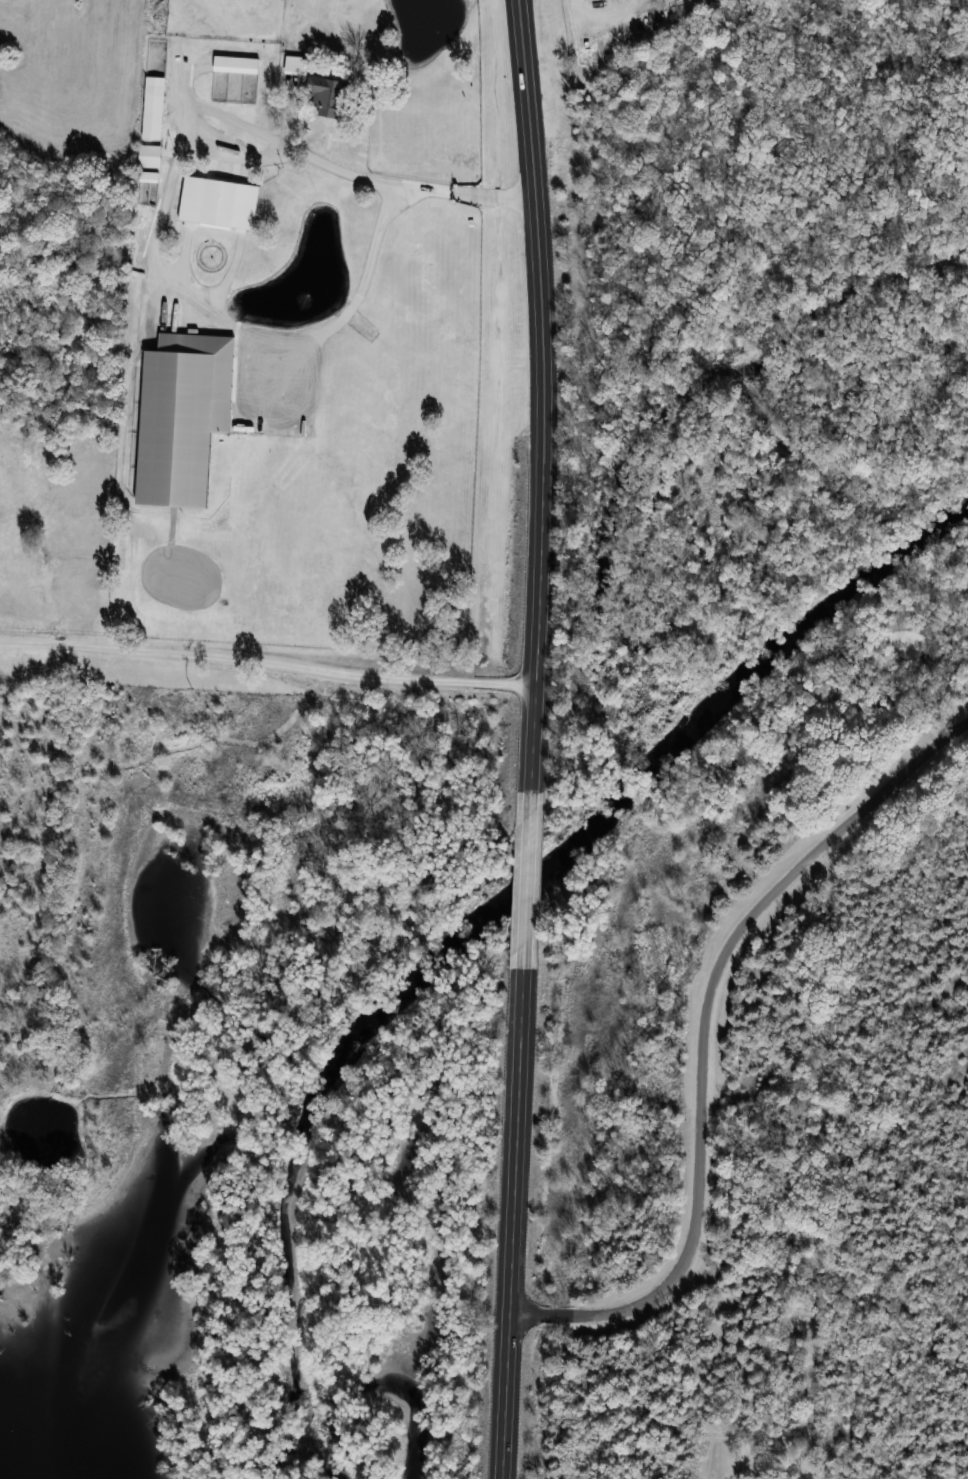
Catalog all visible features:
road: (606, 20)
building: (236, 64)
building: (296, 65)
building: (155, 94)
building: (327, 96)
building: (150, 156)
road: (348, 171)
building: (149, 177)
building: (219, 202)
road: (378, 236)
road: (544, 393)
road: (267, 662)
road: (526, 879)
road: (703, 1034)
road: (820, 1165)
road: (511, 1225)

